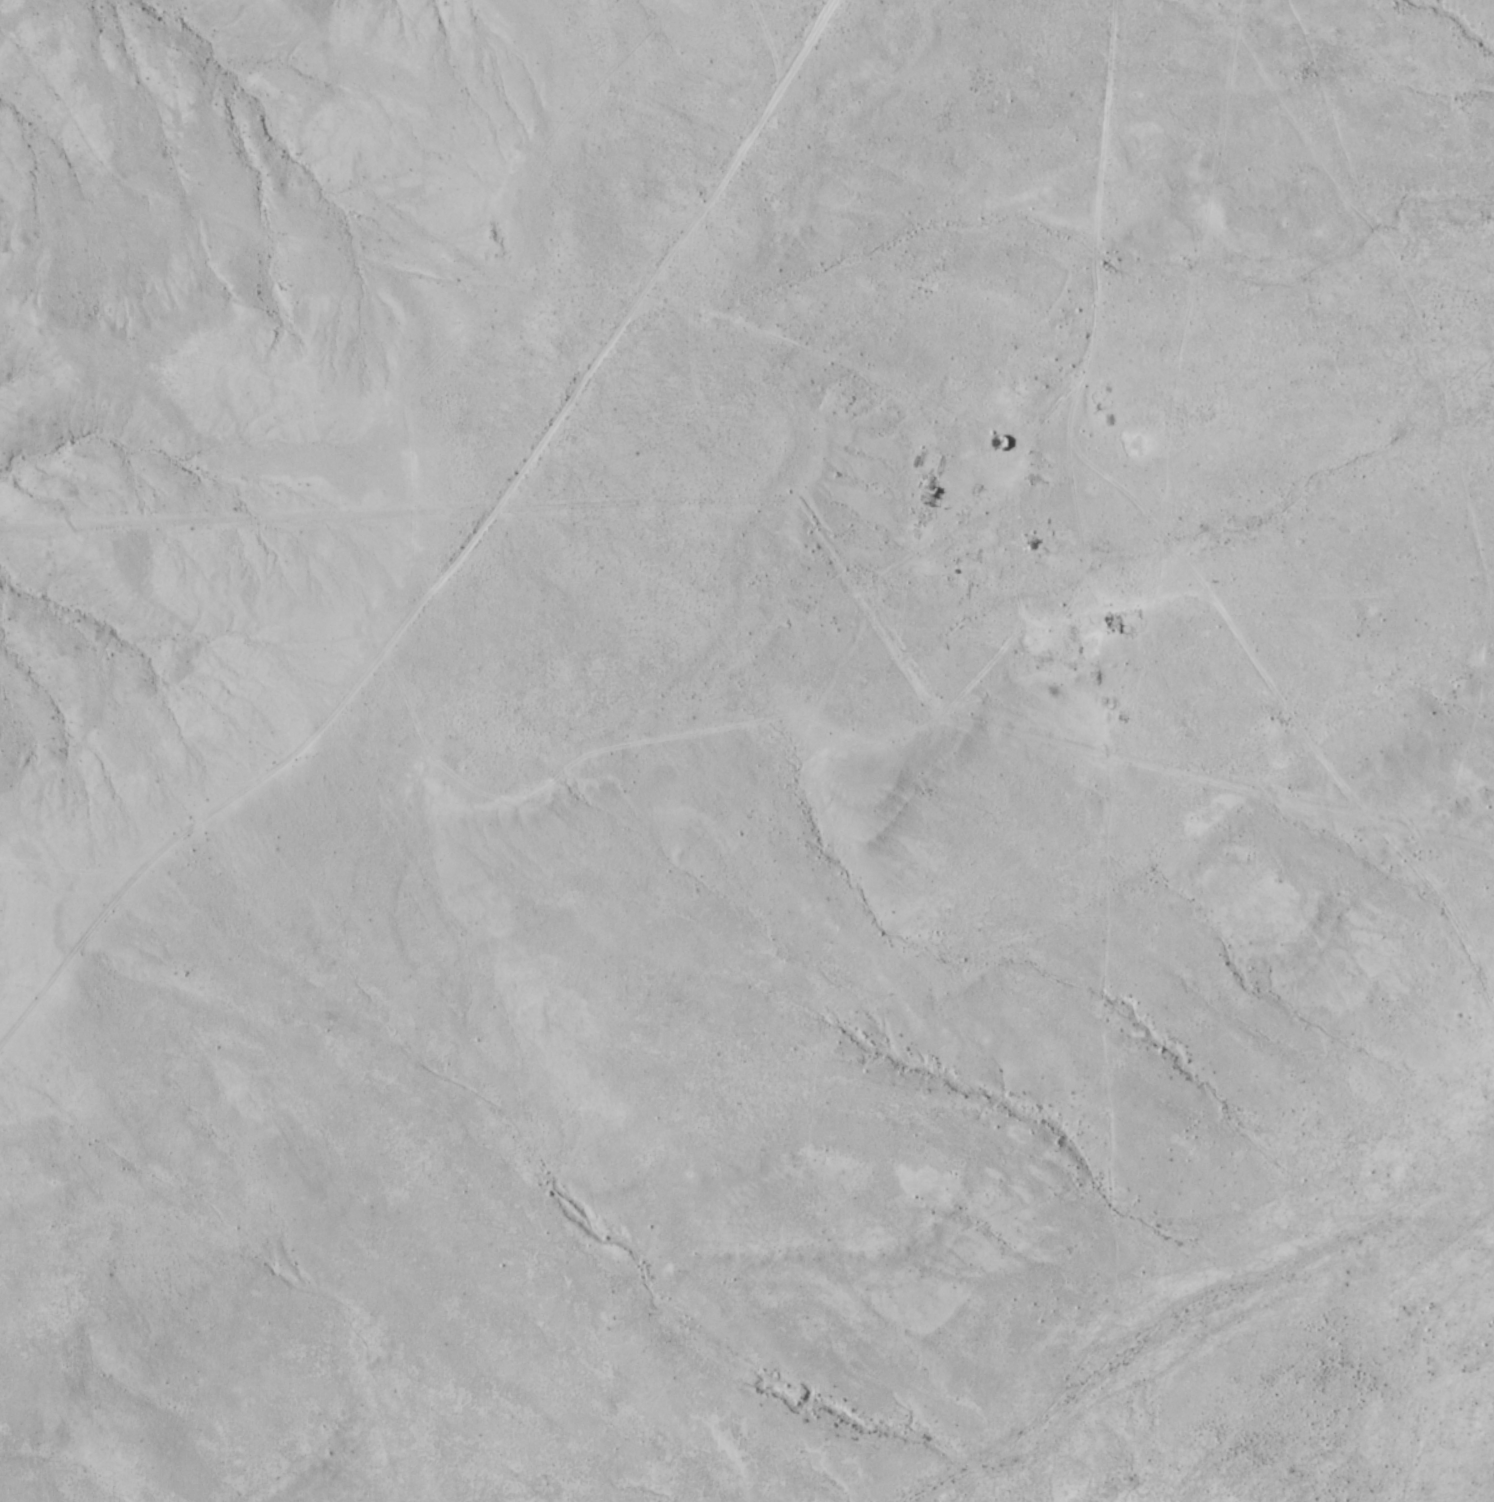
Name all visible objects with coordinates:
road: (1034, 408)
road: (453, 541)

